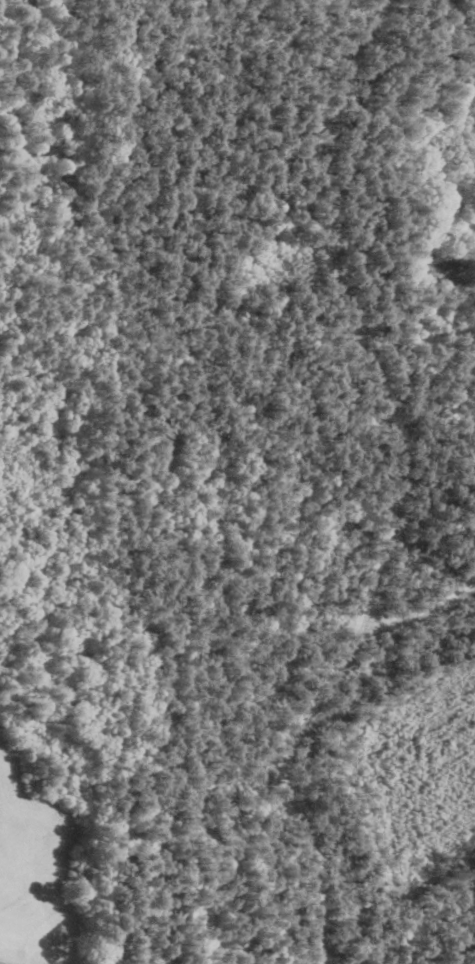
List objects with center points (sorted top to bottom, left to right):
road: (320, 337)
road: (293, 726)

